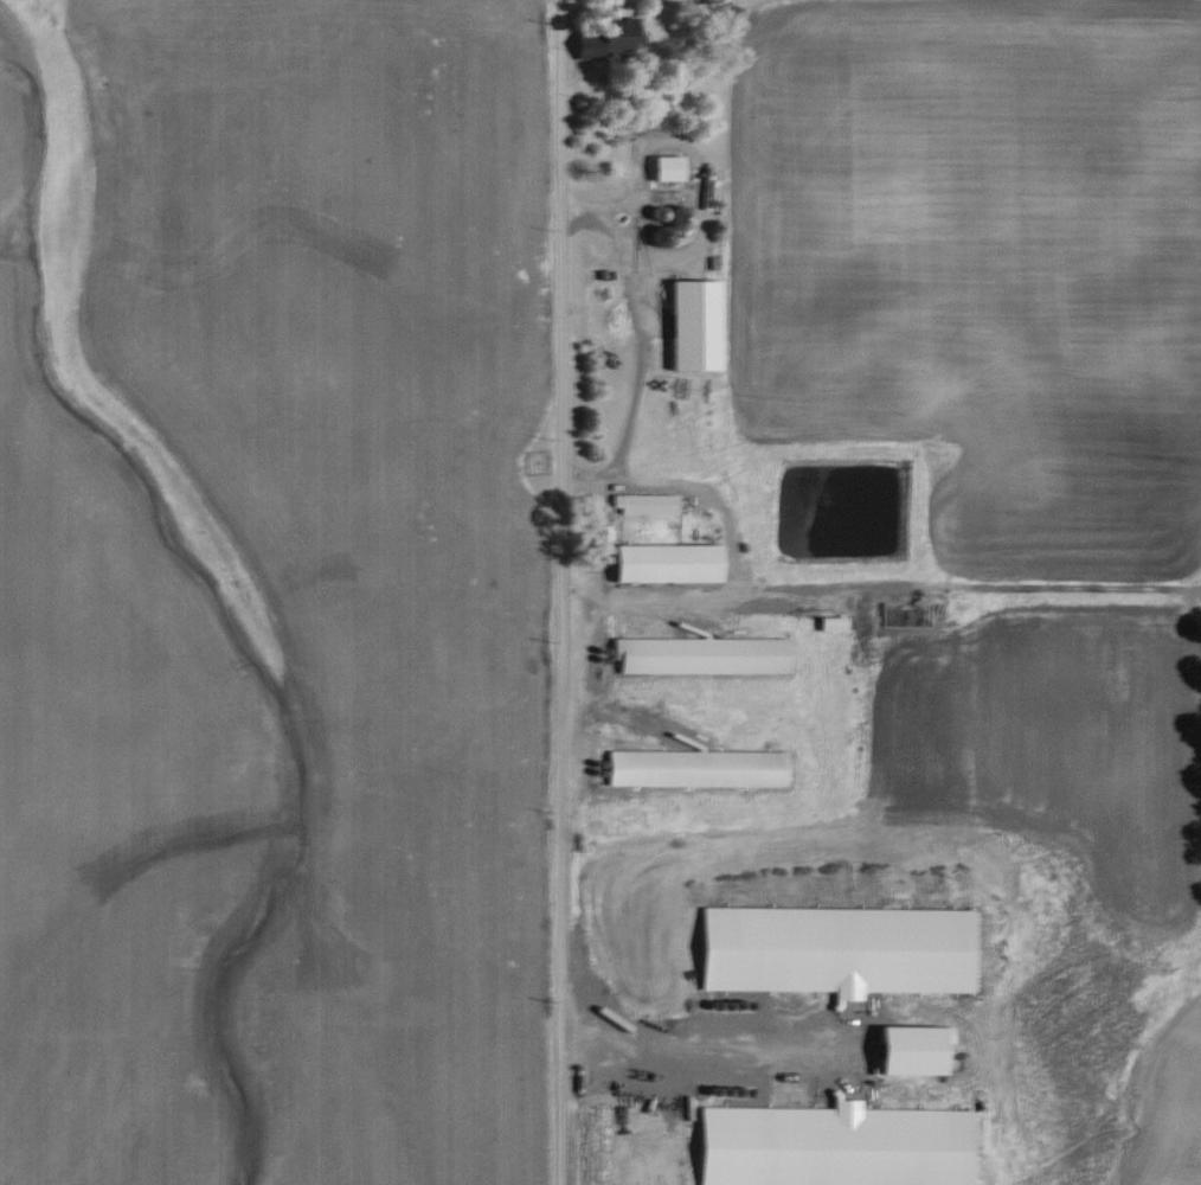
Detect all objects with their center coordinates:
building: (614, 36)
building: (672, 166)
building: (699, 324)
building: (648, 502)
road: (732, 540)
building: (672, 561)
road: (563, 591)
building: (705, 653)
building: (701, 766)

